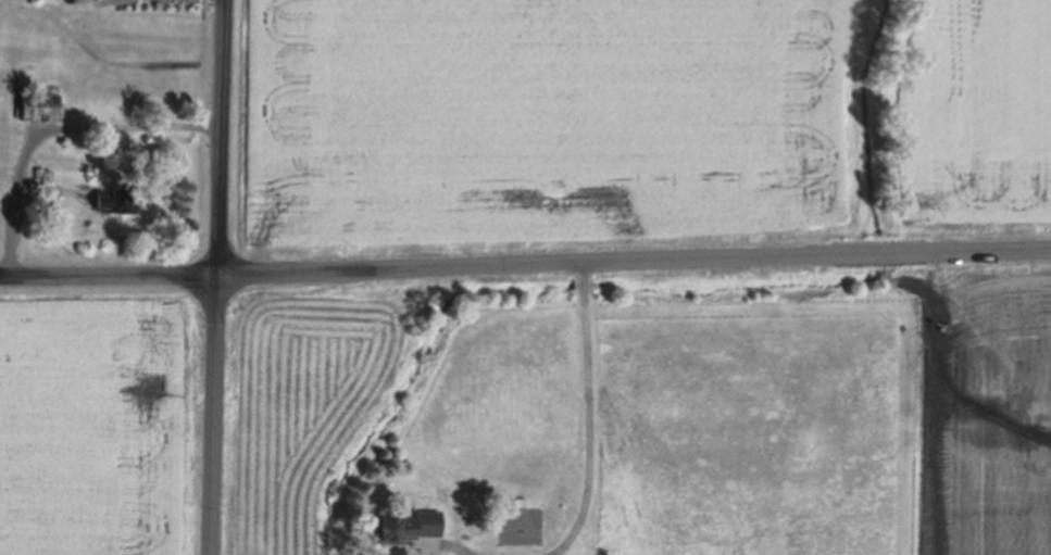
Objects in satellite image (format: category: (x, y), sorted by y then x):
building: (39, 105)
road: (52, 124)
building: (39, 172)
building: (116, 199)
road: (525, 263)
road: (213, 277)
road: (589, 416)
building: (406, 526)

